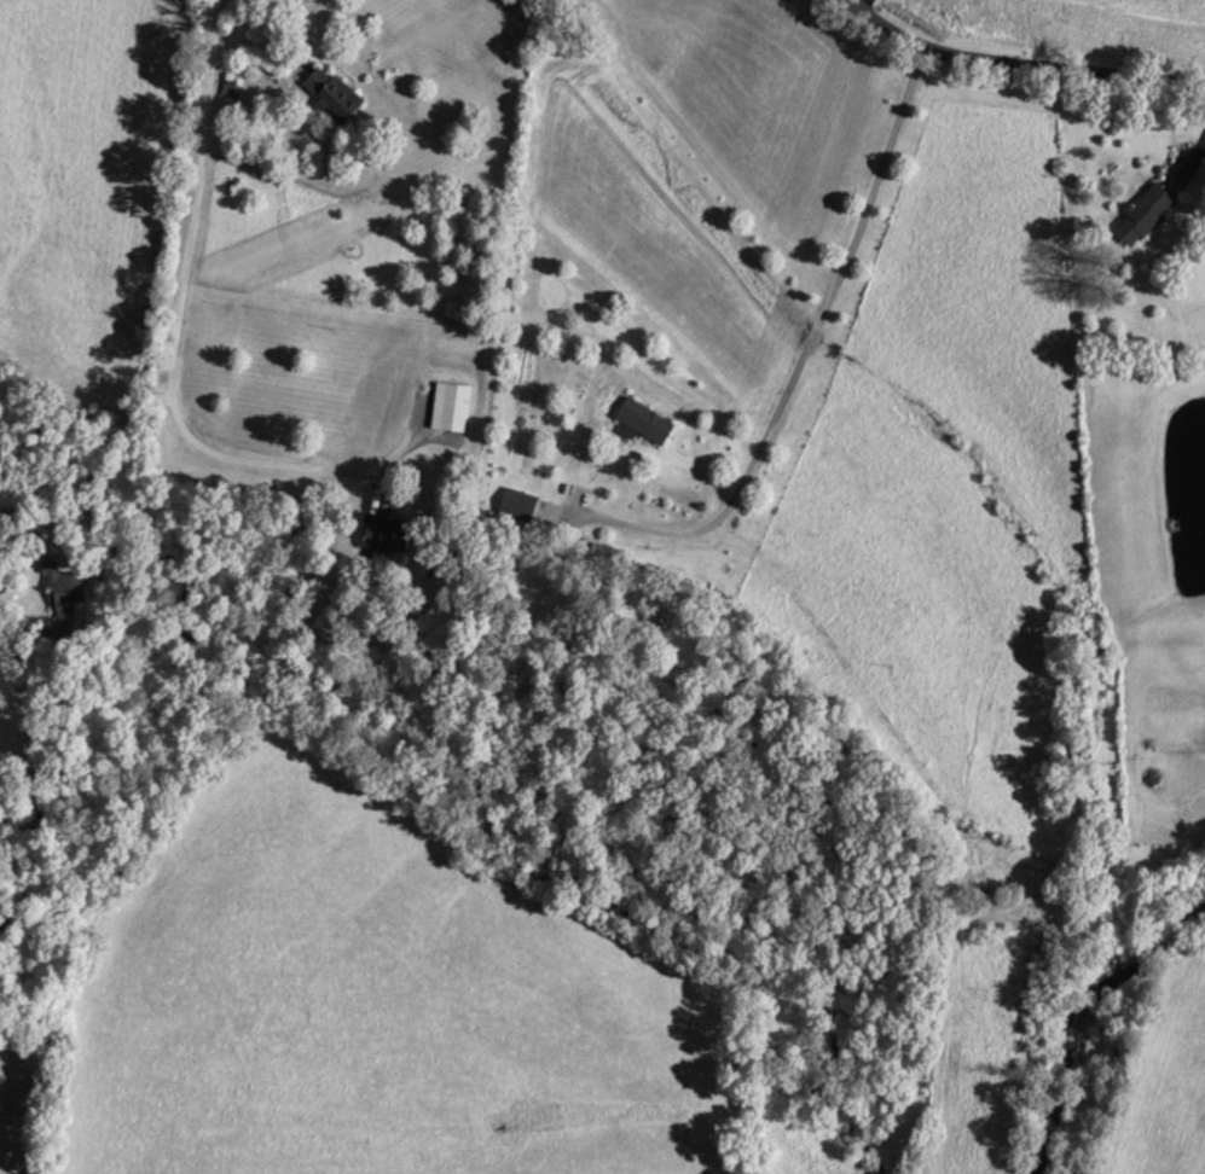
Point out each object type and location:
road: (1019, 60)
building: (230, 88)
building: (335, 94)
building: (1137, 215)
road: (173, 318)
road: (798, 366)
building: (451, 406)
building: (648, 420)
building: (519, 504)
building: (387, 536)

